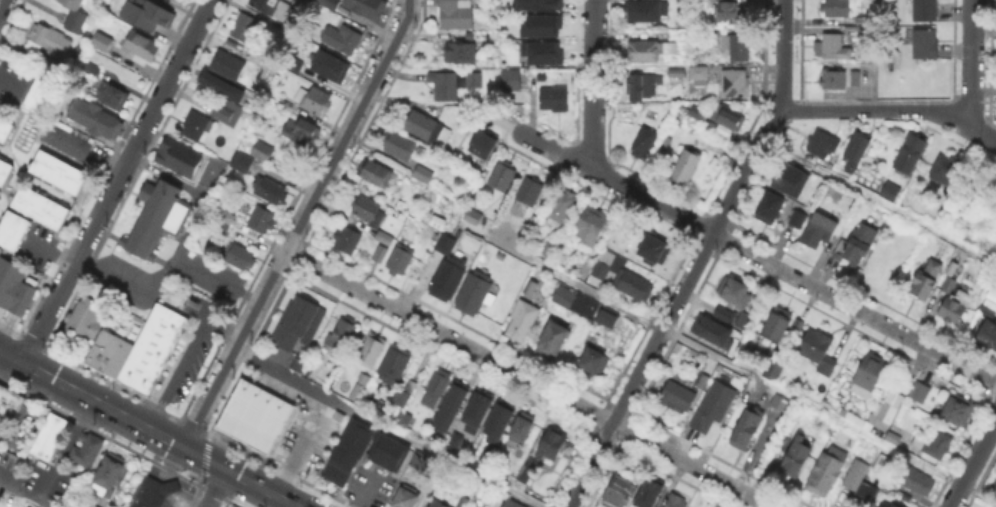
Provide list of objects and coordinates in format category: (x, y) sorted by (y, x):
building: (180, 2)
building: (302, 2)
building: (535, 4)
road: (3, 5)
building: (273, 8)
building: (368, 9)
building: (839, 9)
building: (646, 12)
building: (926, 12)
building: (147, 13)
building: (458, 14)
building: (732, 14)
building: (75, 15)
building: (539, 24)
building: (246, 28)
building: (860, 32)
building: (49, 35)
building: (101, 40)
building: (344, 41)
building: (737, 46)
building: (927, 46)
building: (146, 47)
building: (836, 49)
building: (540, 51)
building: (650, 52)
building: (461, 54)
building: (317, 58)
road: (972, 62)
building: (229, 67)
building: (92, 69)
building: (677, 73)
building: (700, 74)
building: (859, 79)
road: (9, 81)
building: (513, 81)
building: (835, 81)
building: (643, 82)
building: (737, 84)
building: (455, 85)
road: (592, 85)
building: (219, 87)
building: (38, 93)
building: (114, 98)
building: (556, 100)
building: (315, 102)
road: (854, 110)
building: (228, 113)
building: (699, 113)
building: (94, 116)
building: (729, 118)
road: (965, 125)
building: (196, 127)
building: (4, 128)
building: (429, 130)
building: (302, 134)
building: (71, 140)
building: (482, 142)
building: (646, 143)
building: (824, 146)
building: (857, 147)
building: (399, 149)
building: (263, 152)
building: (176, 155)
building: (913, 157)
building: (243, 164)
building: (4, 169)
building: (688, 169)
building: (56, 170)
building: (376, 170)
building: (424, 174)
building: (948, 174)
building: (502, 178)
building: (788, 178)
road: (115, 181)
building: (272, 191)
building: (891, 193)
building: (531, 194)
road: (878, 202)
building: (38, 205)
building: (563, 206)
building: (771, 210)
building: (224, 212)
building: (370, 213)
building: (474, 215)
building: (156, 216)
building: (799, 220)
building: (263, 221)
building: (533, 222)
road: (299, 224)
building: (593, 225)
building: (11, 227)
building: (821, 234)
building: (387, 240)
road: (176, 241)
building: (348, 243)
building: (447, 246)
building: (651, 246)
building: (547, 248)
building: (858, 249)
road: (49, 251)
building: (377, 252)
building: (381, 256)
road: (756, 257)
building: (241, 258)
road: (697, 259)
building: (402, 261)
building: (608, 266)
road: (216, 275)
building: (926, 275)
building: (448, 279)
building: (948, 282)
building: (13, 286)
building: (636, 287)
building: (474, 294)
building: (567, 295)
building: (737, 295)
building: (954, 303)
building: (722, 313)
building: (987, 315)
building: (606, 319)
building: (82, 320)
building: (291, 321)
building: (523, 322)
building: (778, 322)
building: (799, 325)
building: (712, 329)
building: (157, 334)
building: (340, 335)
building: (988, 336)
building: (554, 344)
building: (370, 349)
building: (107, 351)
building: (820, 352)
road: (188, 355)
road: (725, 362)
building: (395, 364)
building: (597, 364)
building: (129, 368)
building: (775, 370)
building: (870, 371)
building: (145, 377)
road: (528, 380)
building: (704, 383)
building: (359, 386)
building: (437, 388)
building: (922, 393)
building: (404, 395)
building: (676, 398)
building: (780, 404)
building: (8, 406)
building: (447, 406)
building: (714, 409)
building: (473, 411)
building: (884, 411)
building: (957, 412)
building: (253, 414)
building: (405, 421)
building: (495, 422)
road: (388, 426)
building: (746, 427)
road: (148, 429)
building: (48, 433)
building: (522, 434)
building: (894, 438)
building: (452, 439)
building: (781, 443)
road: (300, 444)
building: (933, 444)
building: (552, 446)
building: (85, 448)
road: (64, 450)
building: (365, 453)
building: (482, 455)
building: (797, 456)
building: (418, 460)
road: (972, 462)
building: (827, 471)
building: (522, 473)
building: (110, 475)
building: (527, 475)
building: (917, 482)
building: (860, 483)
road: (216, 488)
building: (649, 491)
building: (153, 492)
road: (25, 493)
building: (620, 493)
building: (407, 498)
building: (463, 502)
building: (677, 502)
building: (512, 504)
building: (227, 505)
building: (438, 505)
building: (889, 505)
building: (91, 506)

